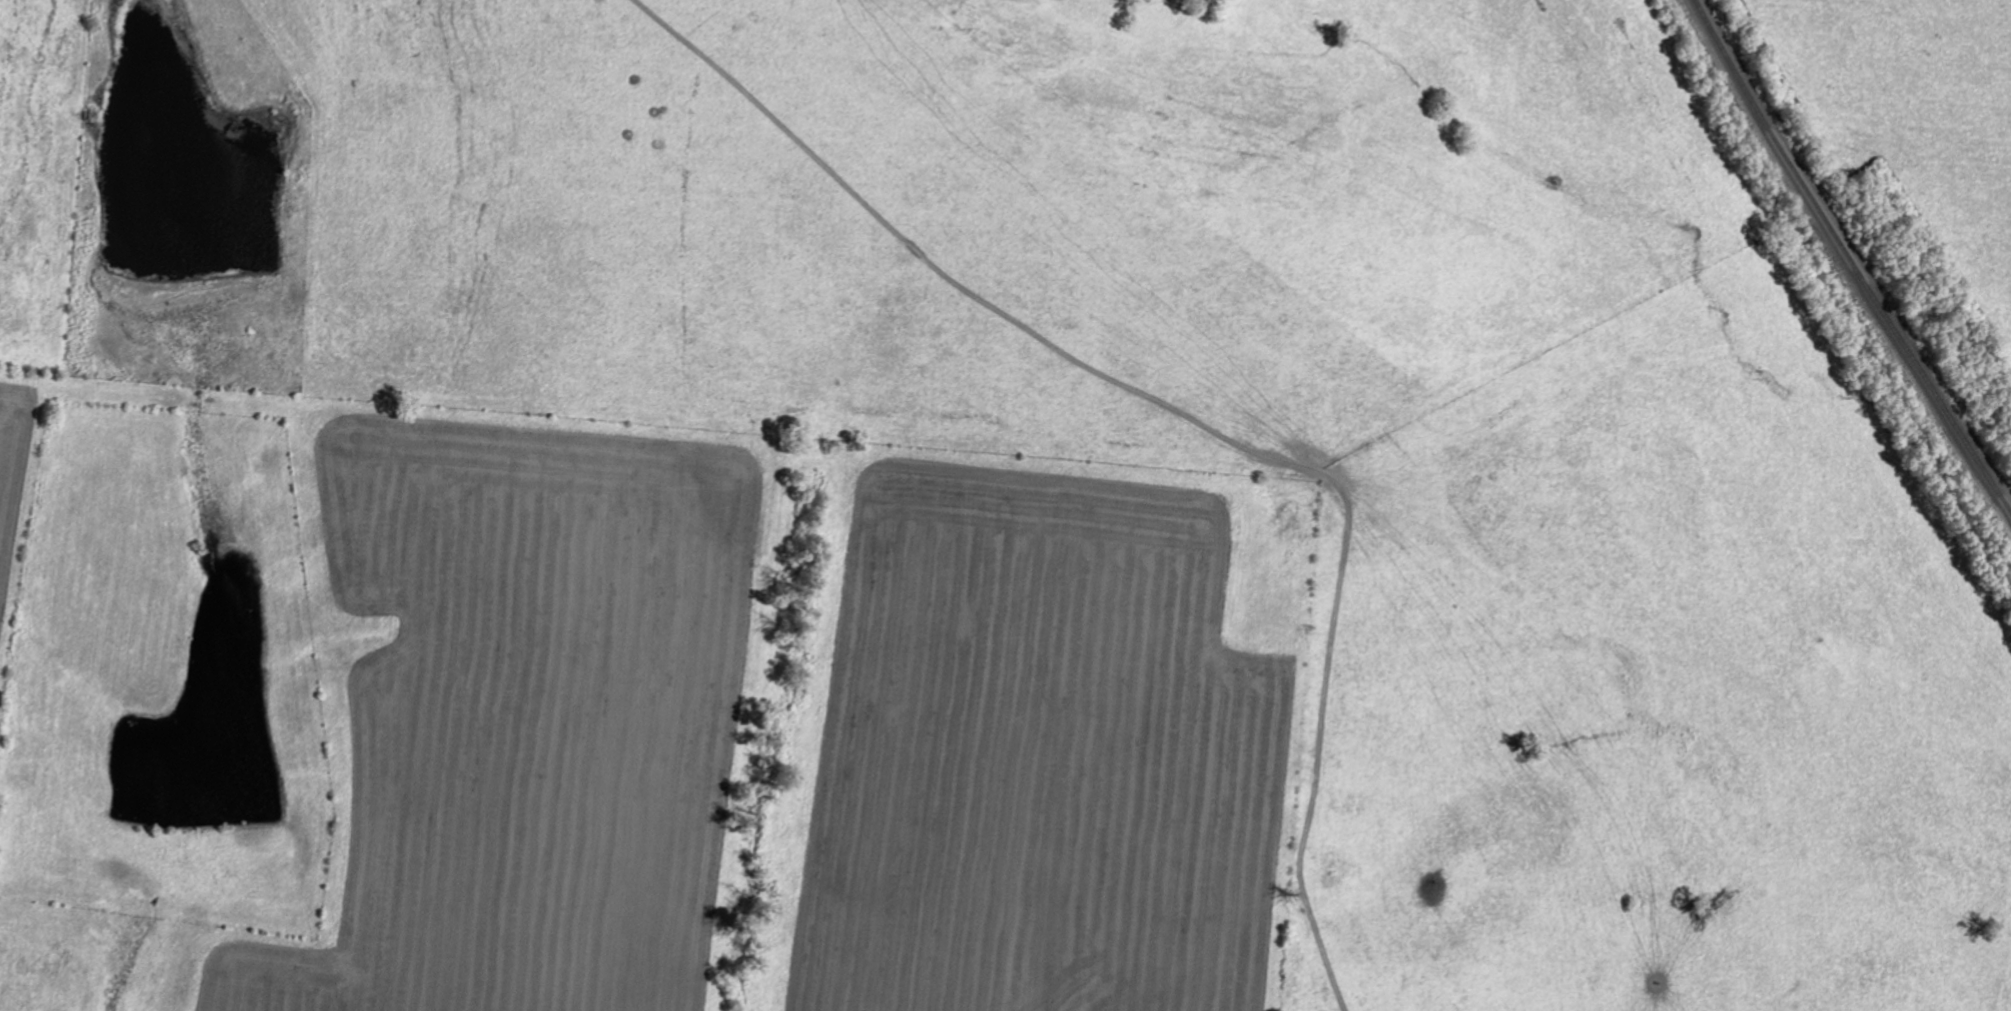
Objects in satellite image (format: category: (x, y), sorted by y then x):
railway: (1845, 264)

